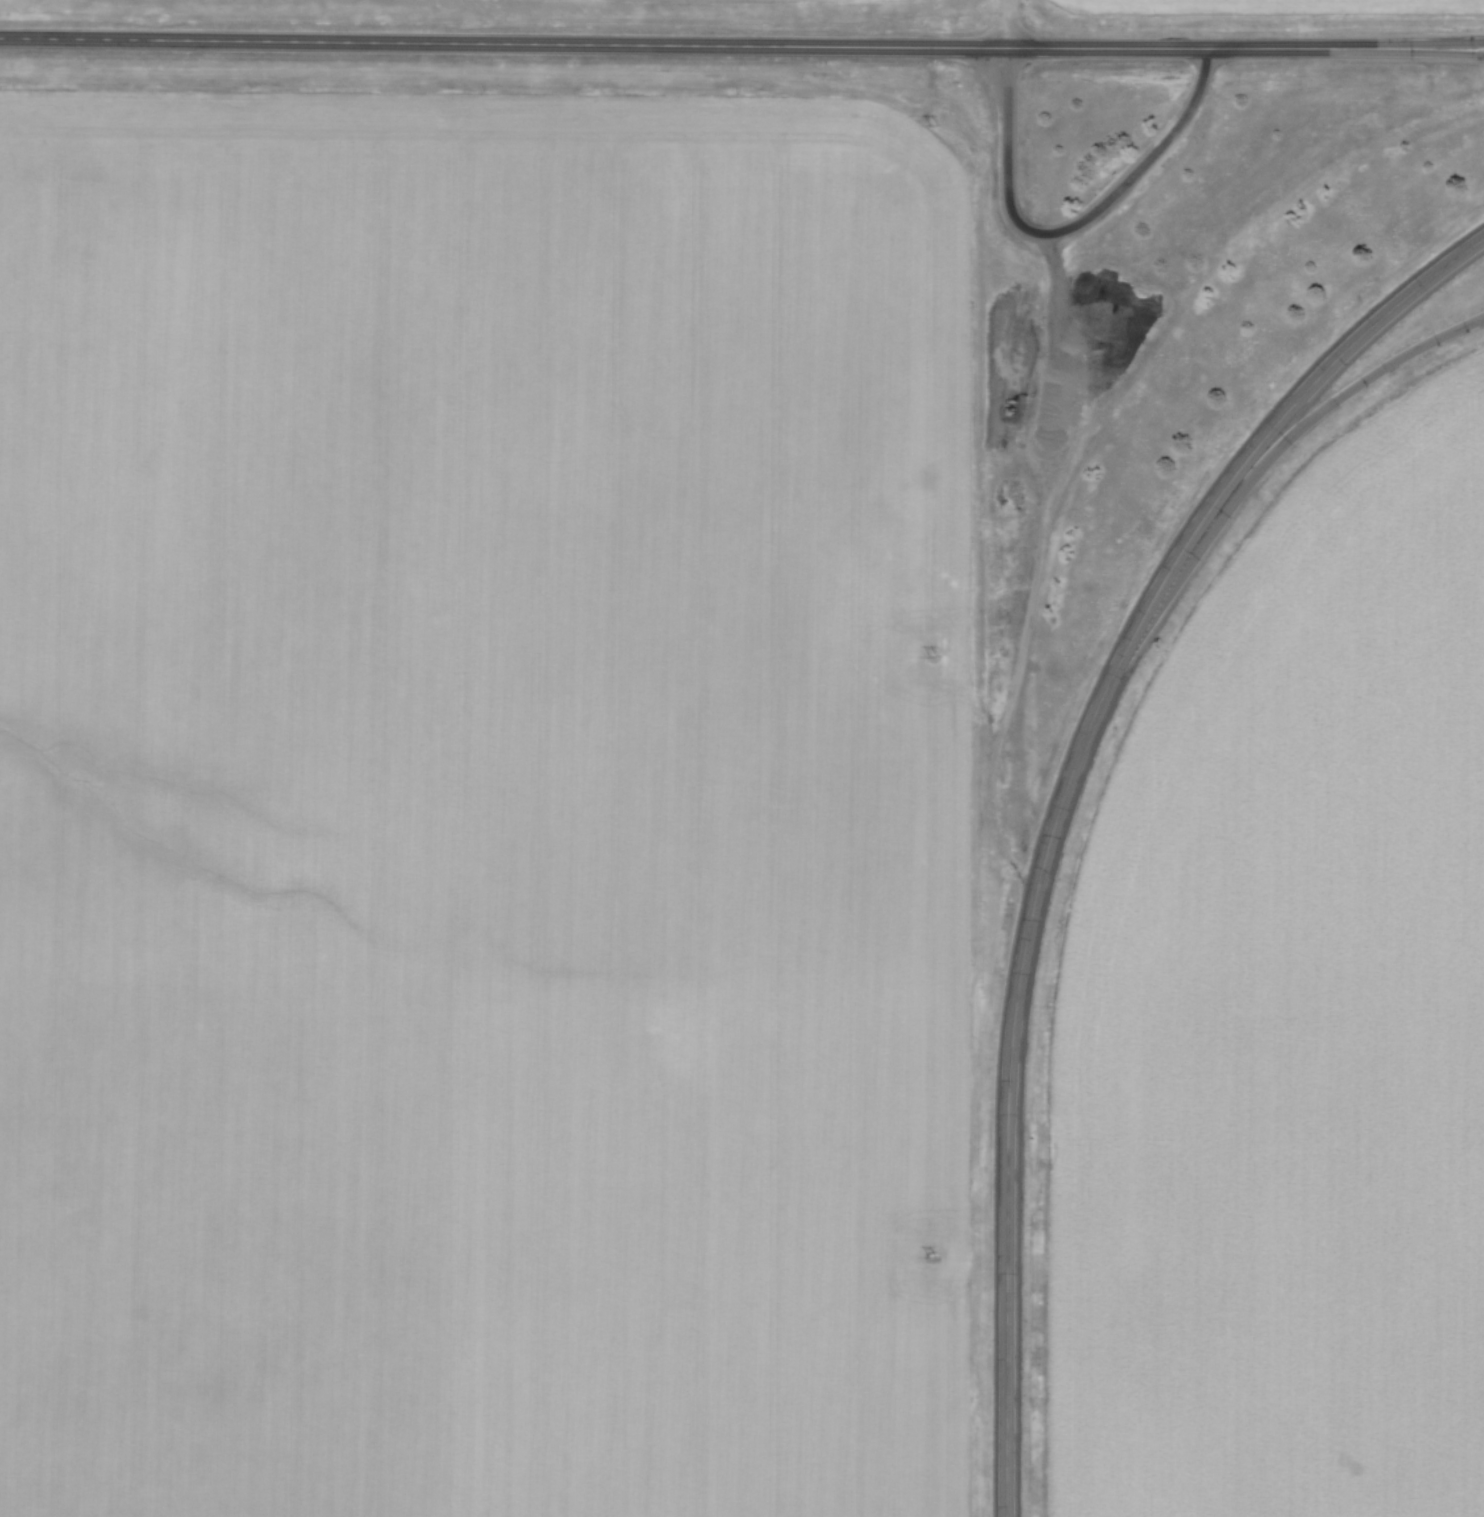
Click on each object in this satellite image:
road: (1008, 24)
road: (1429, 41)
road: (687, 45)
road: (1429, 52)
building: (1014, 171)
road: (1074, 224)
road: (1326, 410)
road: (1062, 803)

